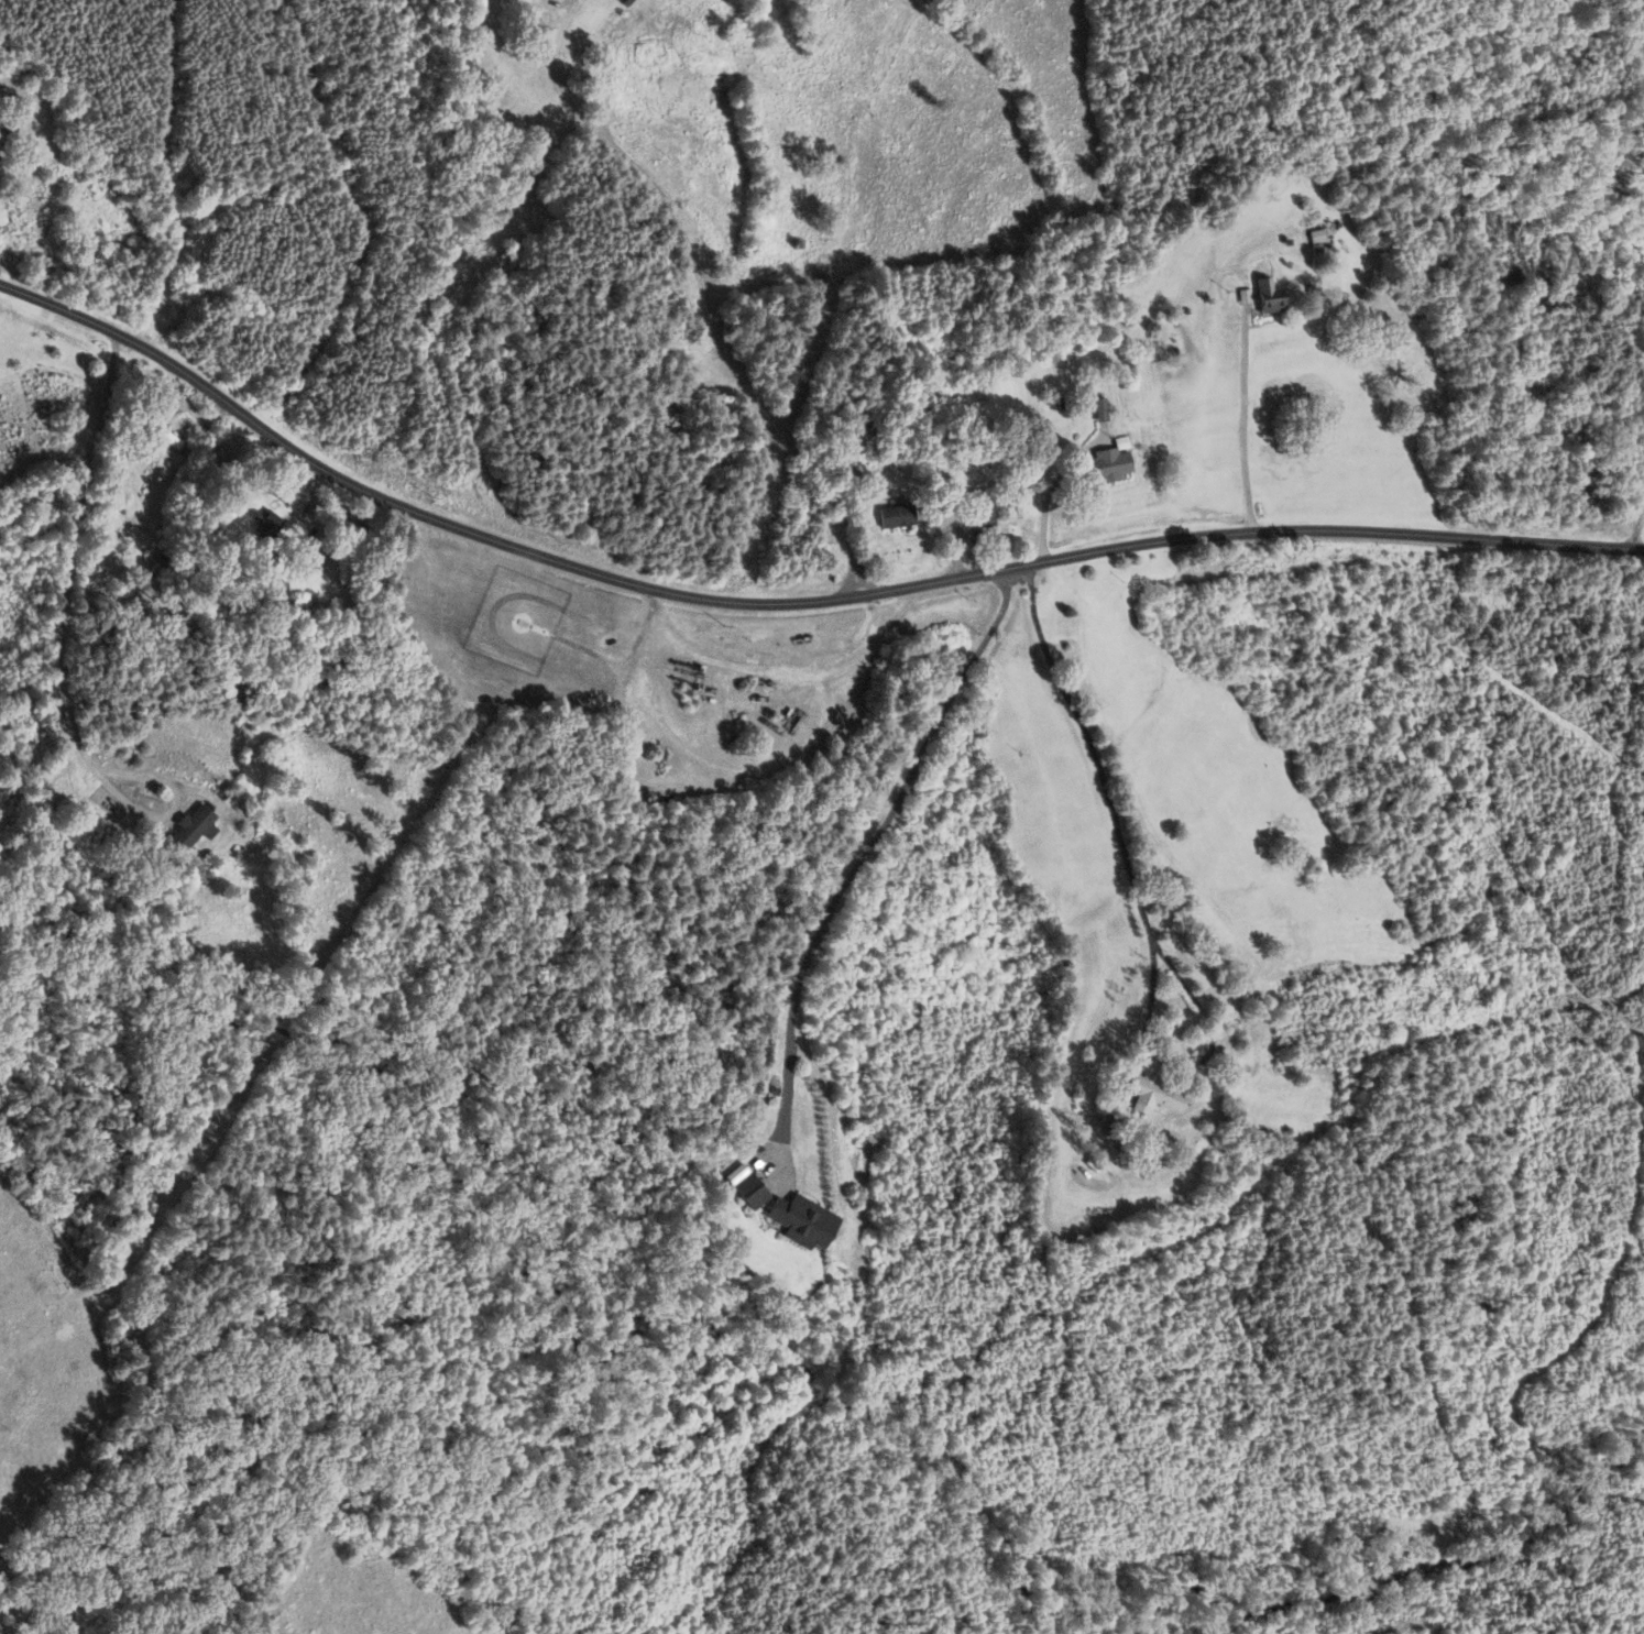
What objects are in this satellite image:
building: (6, 130)
building: (1316, 235)
road: (704, 290)
building: (1271, 304)
building: (182, 404)
building: (1100, 410)
road: (1243, 427)
building: (163, 435)
building: (1109, 463)
building: (982, 509)
building: (897, 516)
building: (265, 525)
road: (1638, 527)
building: (343, 529)
road: (867, 573)
road: (788, 602)
road: (59, 656)
building: (191, 827)
road: (861, 859)
road: (1138, 897)
building: (1153, 1096)
building: (750, 1192)
building: (801, 1222)

